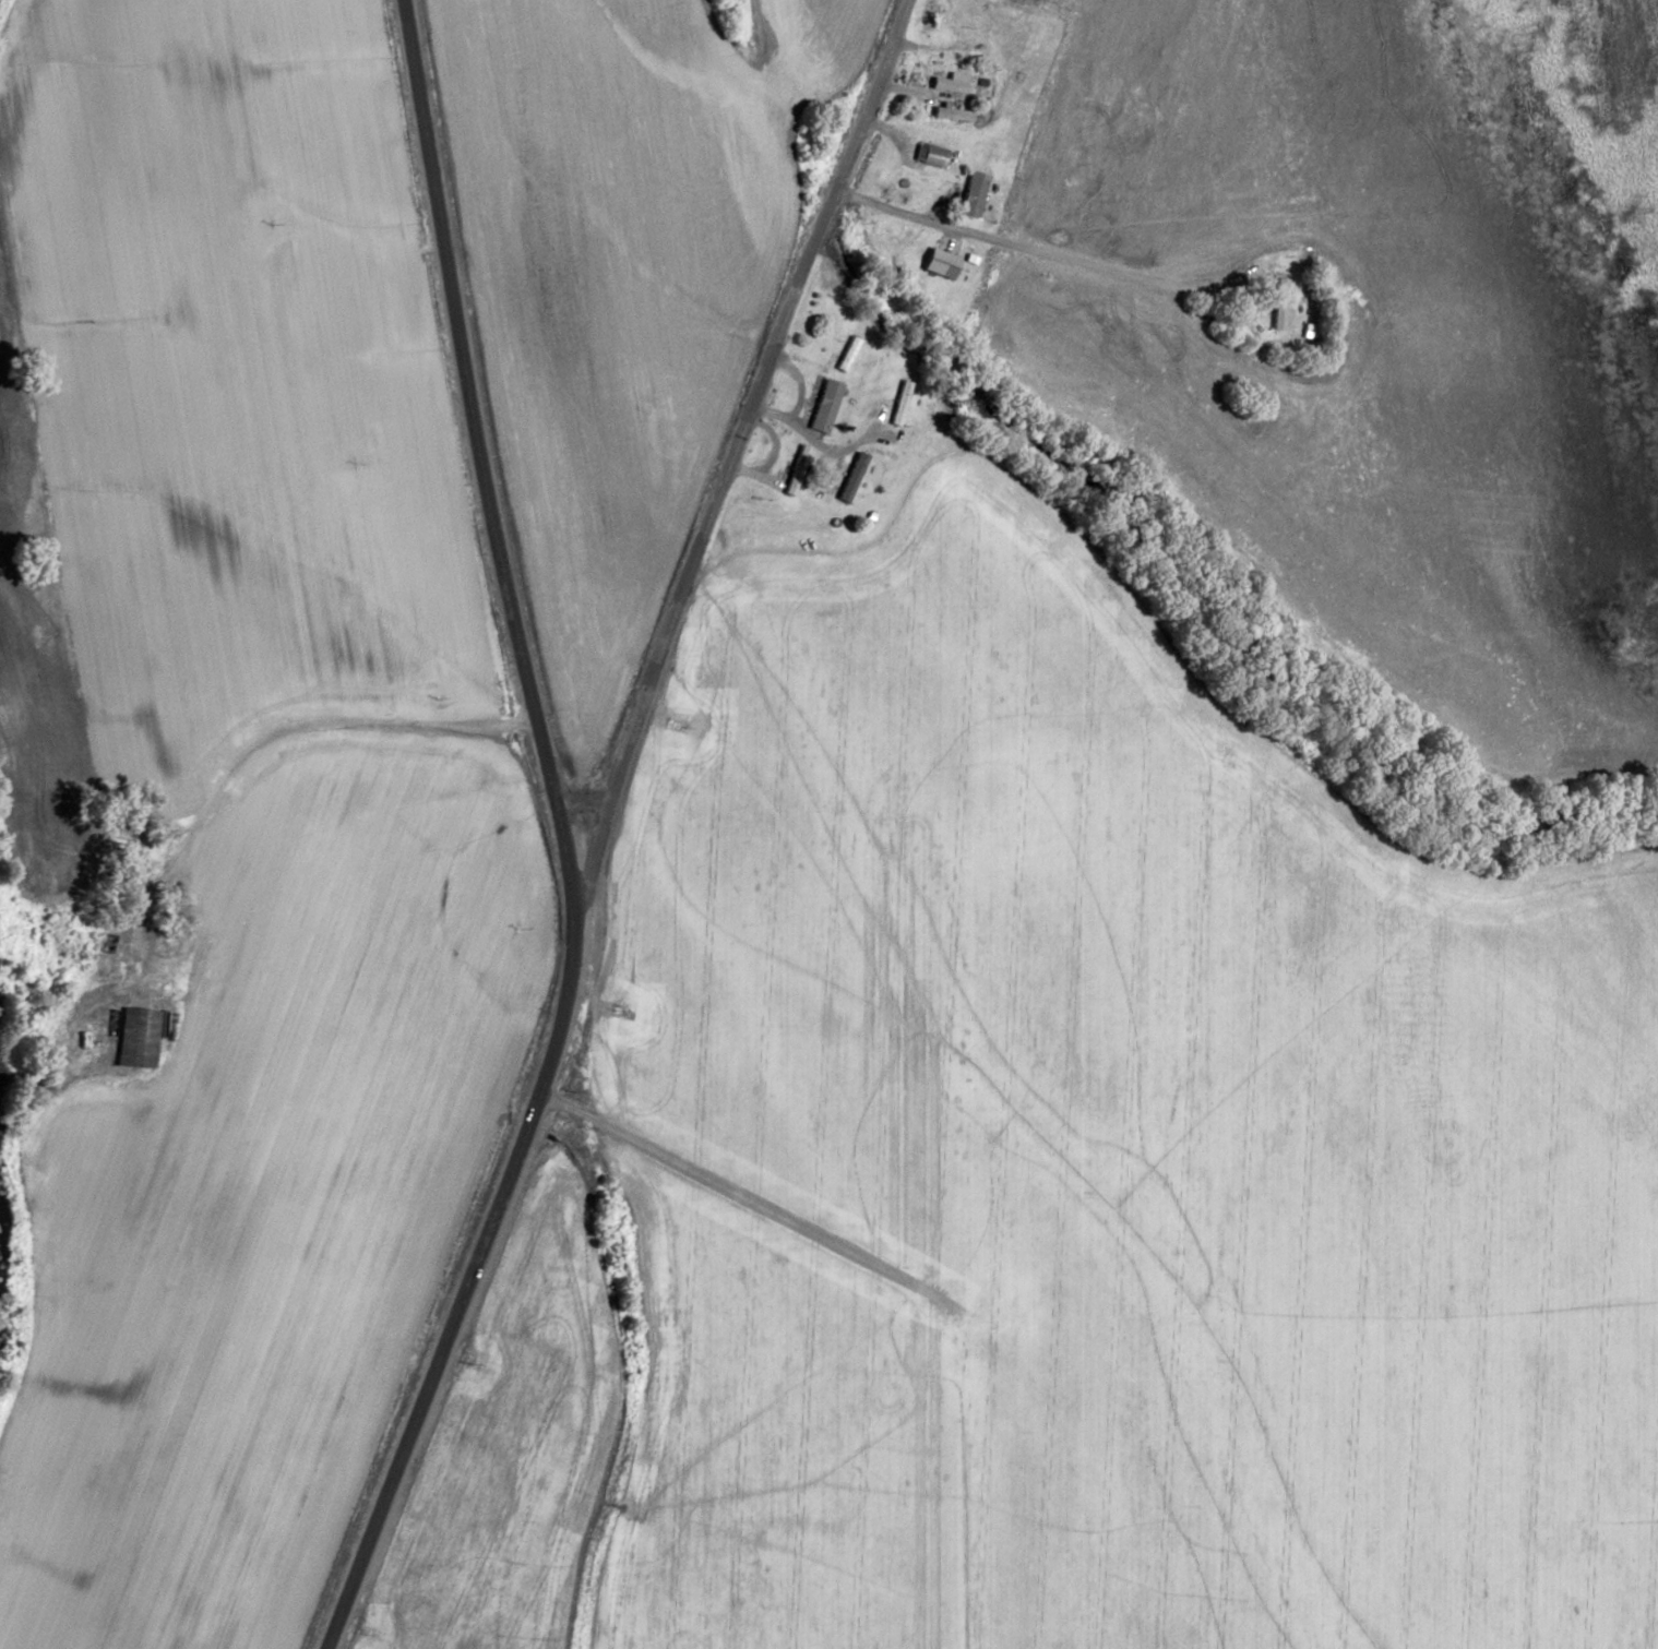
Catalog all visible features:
building: (950, 82)
building: (952, 113)
building: (930, 155)
building: (973, 193)
road: (1047, 223)
building: (940, 263)
building: (1279, 304)
building: (848, 355)
building: (900, 403)
building: (824, 406)
road: (753, 426)
building: (796, 470)
building: (851, 477)
road: (260, 726)
road: (583, 801)
road: (561, 832)
road: (582, 908)
building: (136, 1038)
road: (743, 1187)

